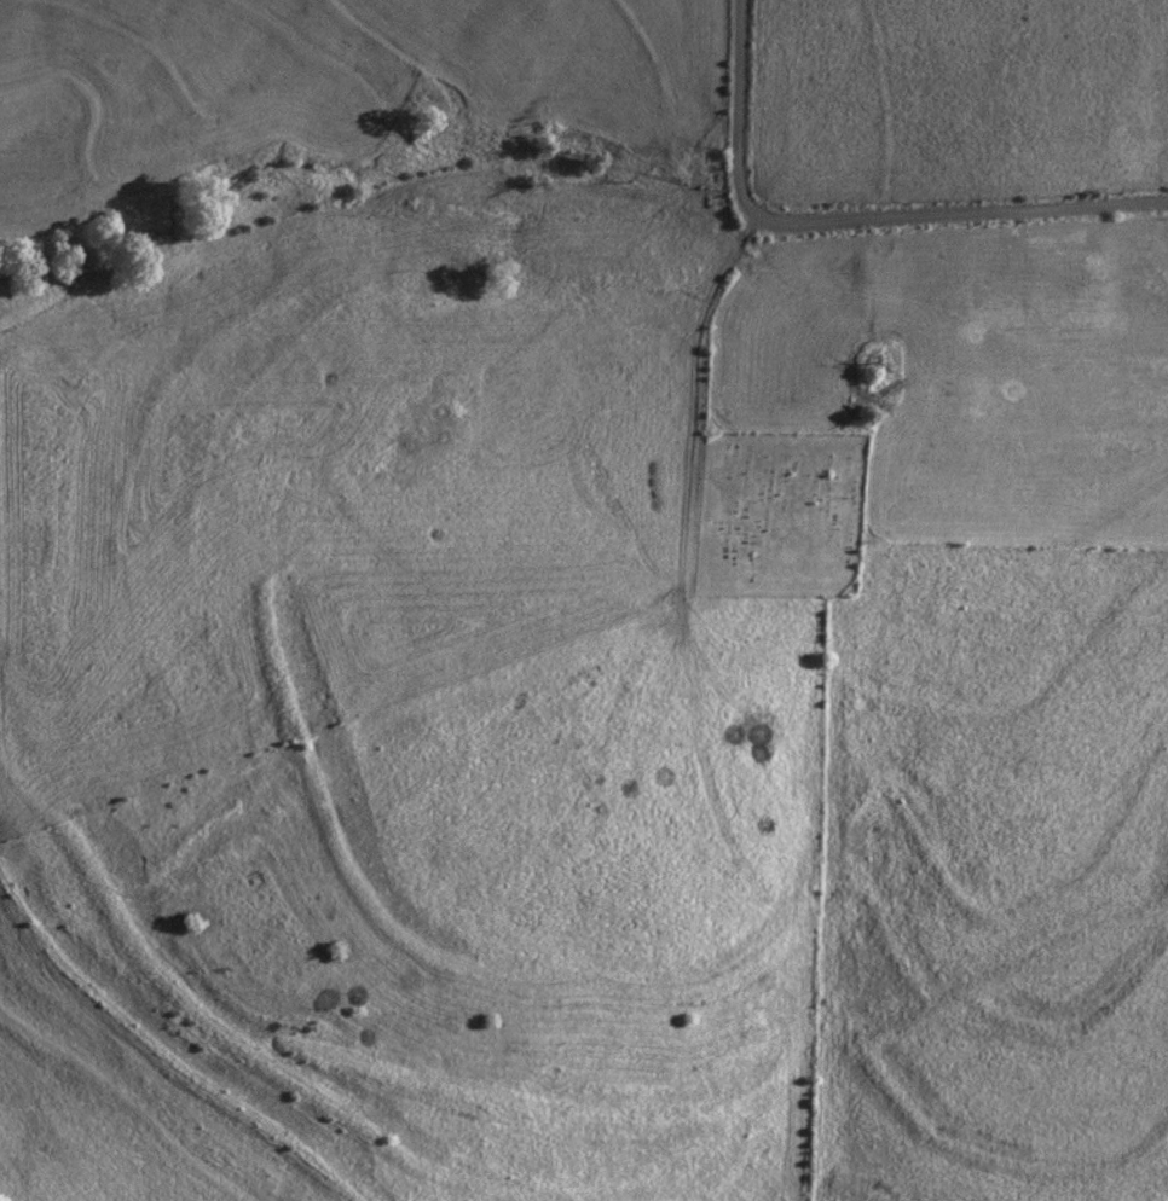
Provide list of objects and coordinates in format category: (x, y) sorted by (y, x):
road: (852, 217)

